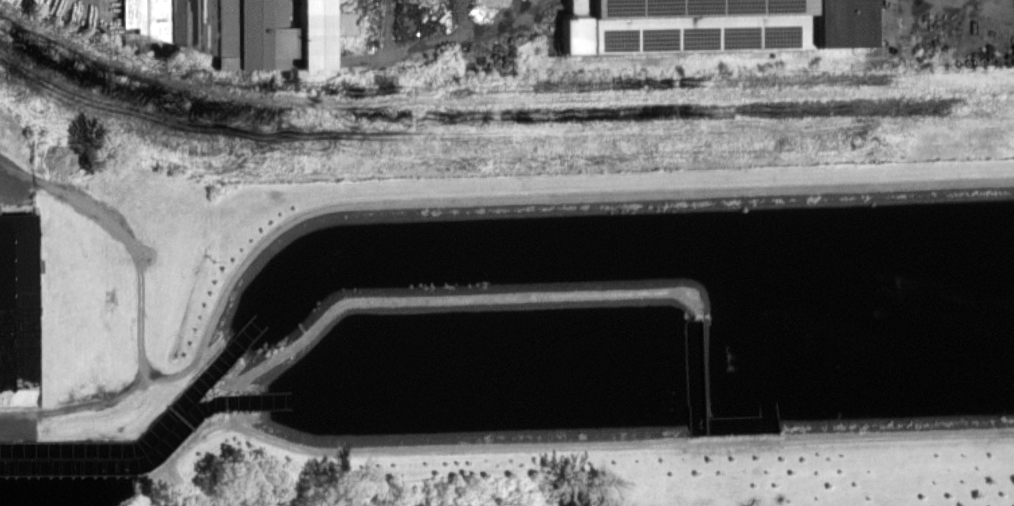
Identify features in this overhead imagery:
building: (167, 21)
building: (343, 22)
building: (706, 25)
building: (312, 33)
building: (253, 34)
road: (34, 183)
building: (18, 300)

